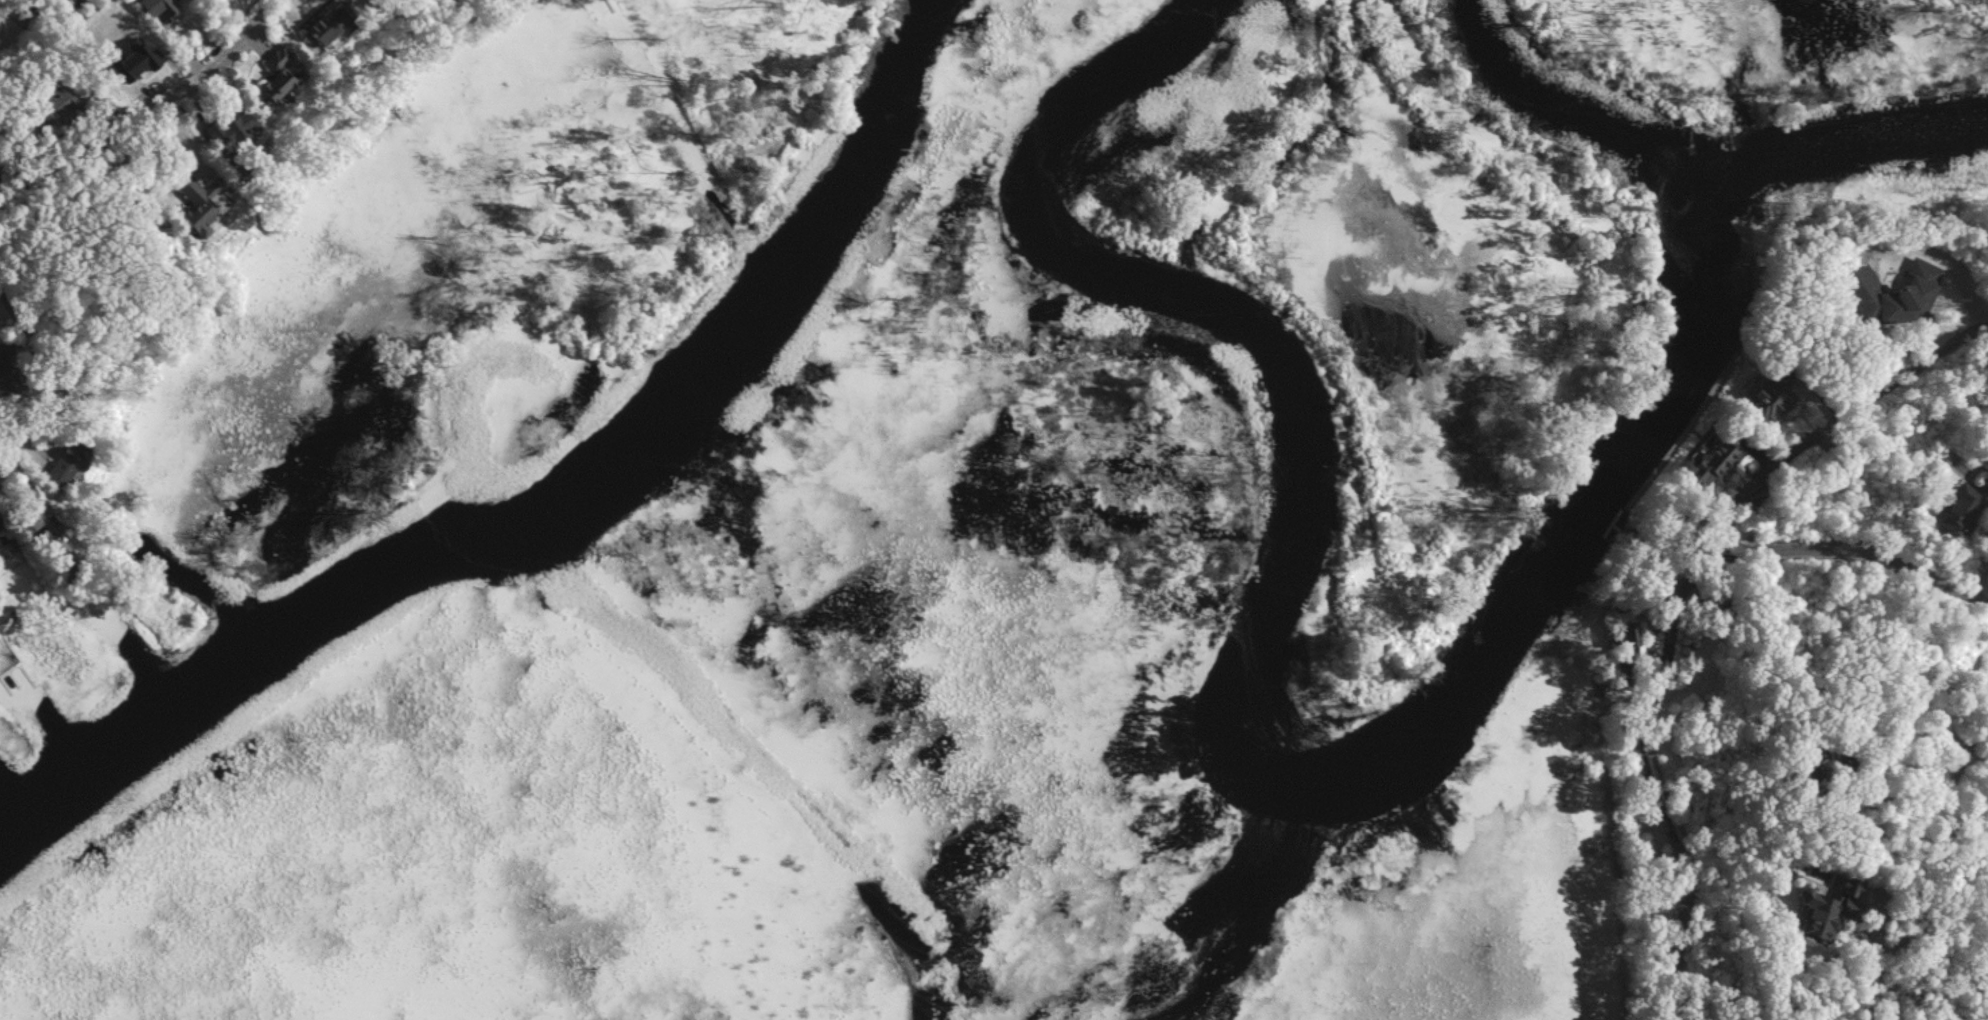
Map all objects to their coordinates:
building: (63, 1)
building: (155, 7)
building: (312, 28)
building: (274, 78)
building: (49, 104)
road: (145, 108)
building: (227, 128)
building: (187, 224)
building: (1893, 294)
road: (35, 342)
building: (11, 368)
building: (1784, 397)
road: (34, 421)
road: (1822, 433)
building: (1710, 458)
building: (74, 470)
river: (546, 505)
building: (1964, 510)
building: (2, 514)
road: (1706, 571)
road: (1982, 580)
building: (1624, 649)
building: (1854, 757)
building: (1816, 761)
river: (1296, 785)
building: (1844, 798)
building: (1825, 909)
road: (1683, 931)
road: (1987, 999)

